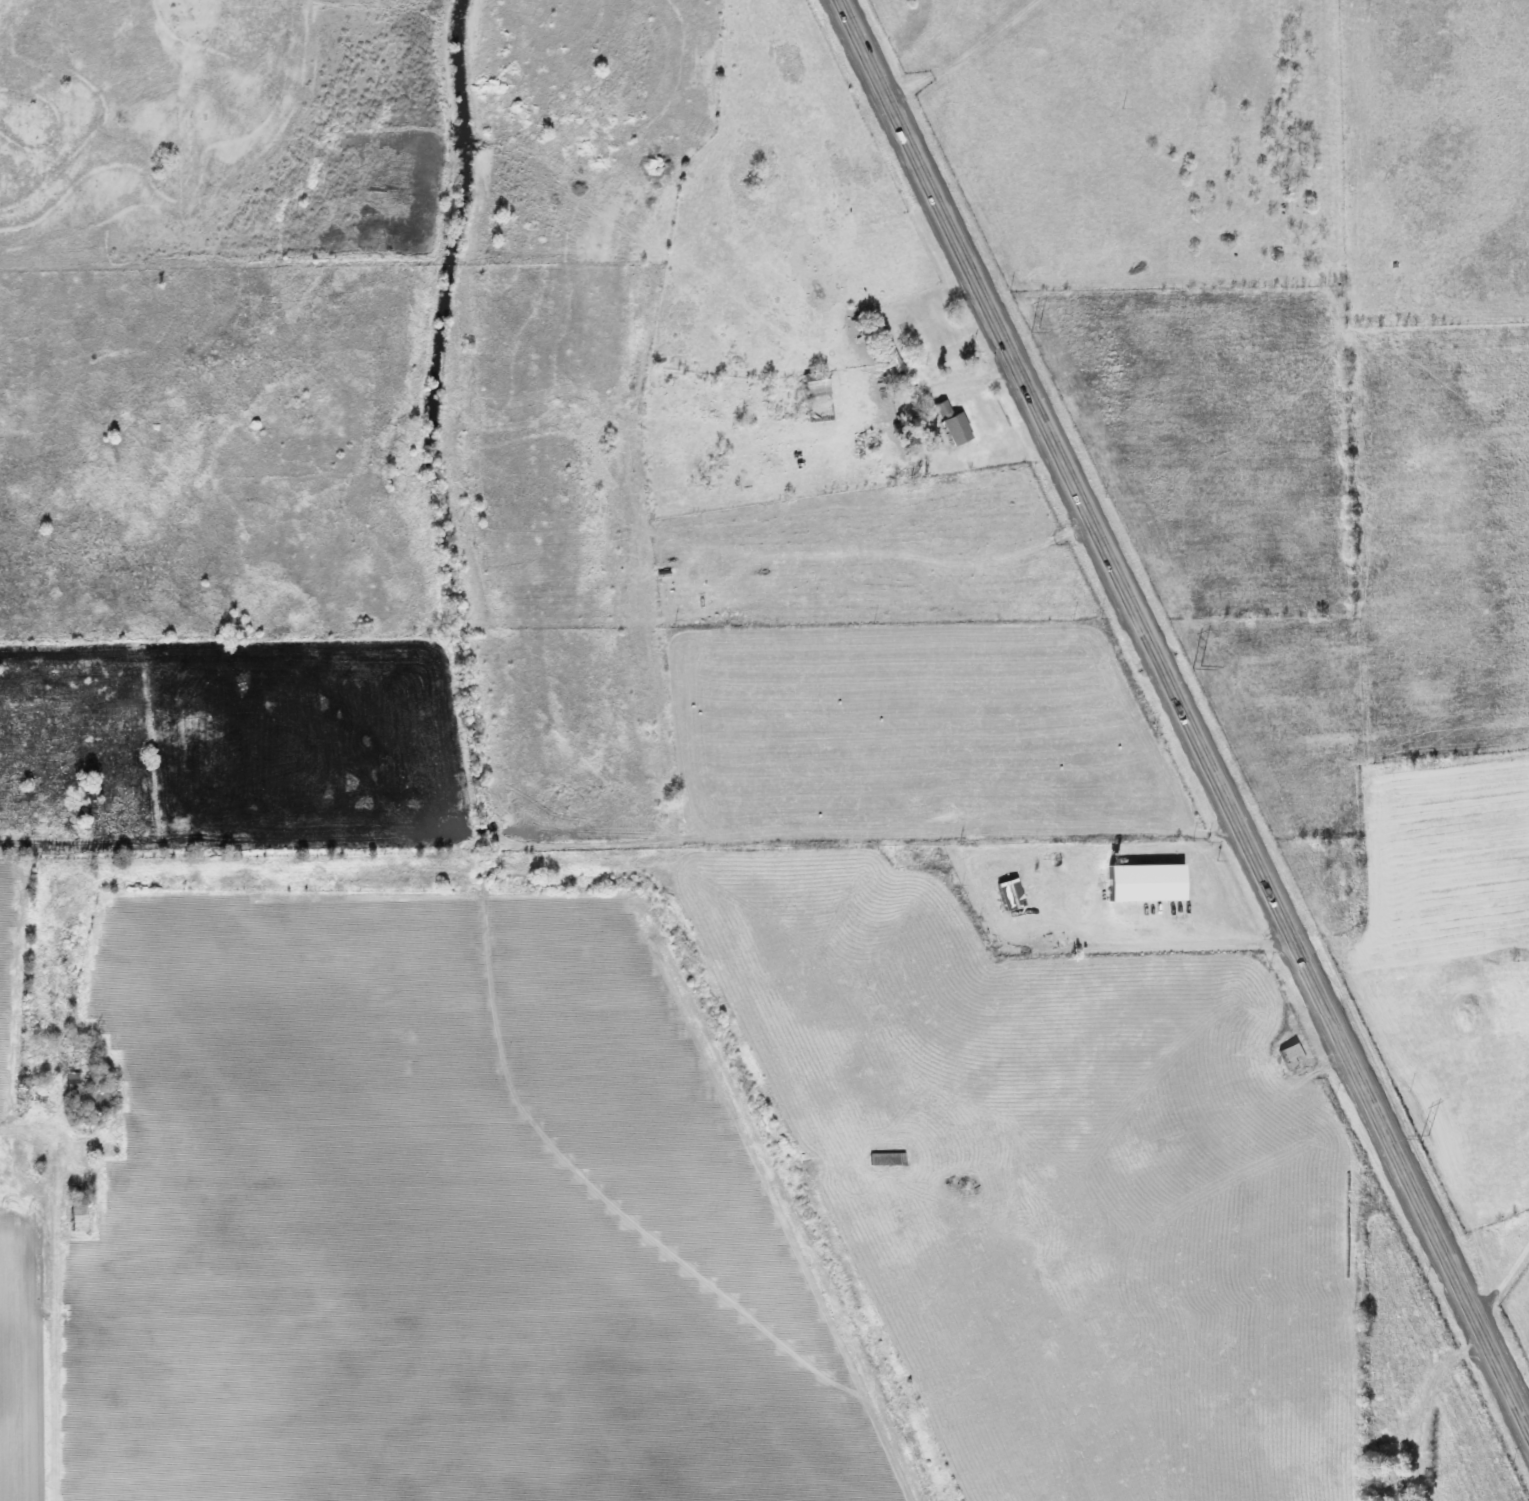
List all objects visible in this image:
power tower: (1035, 328)
building: (806, 384)
building: (933, 408)
building: (948, 428)
power tower: (1191, 654)
road: (1182, 716)
building: (1000, 896)
building: (1283, 1057)
road: (1319, 1067)
building: (65, 1083)
power tower: (1424, 1136)
building: (879, 1159)
building: (69, 1216)
building: (1385, 1487)

